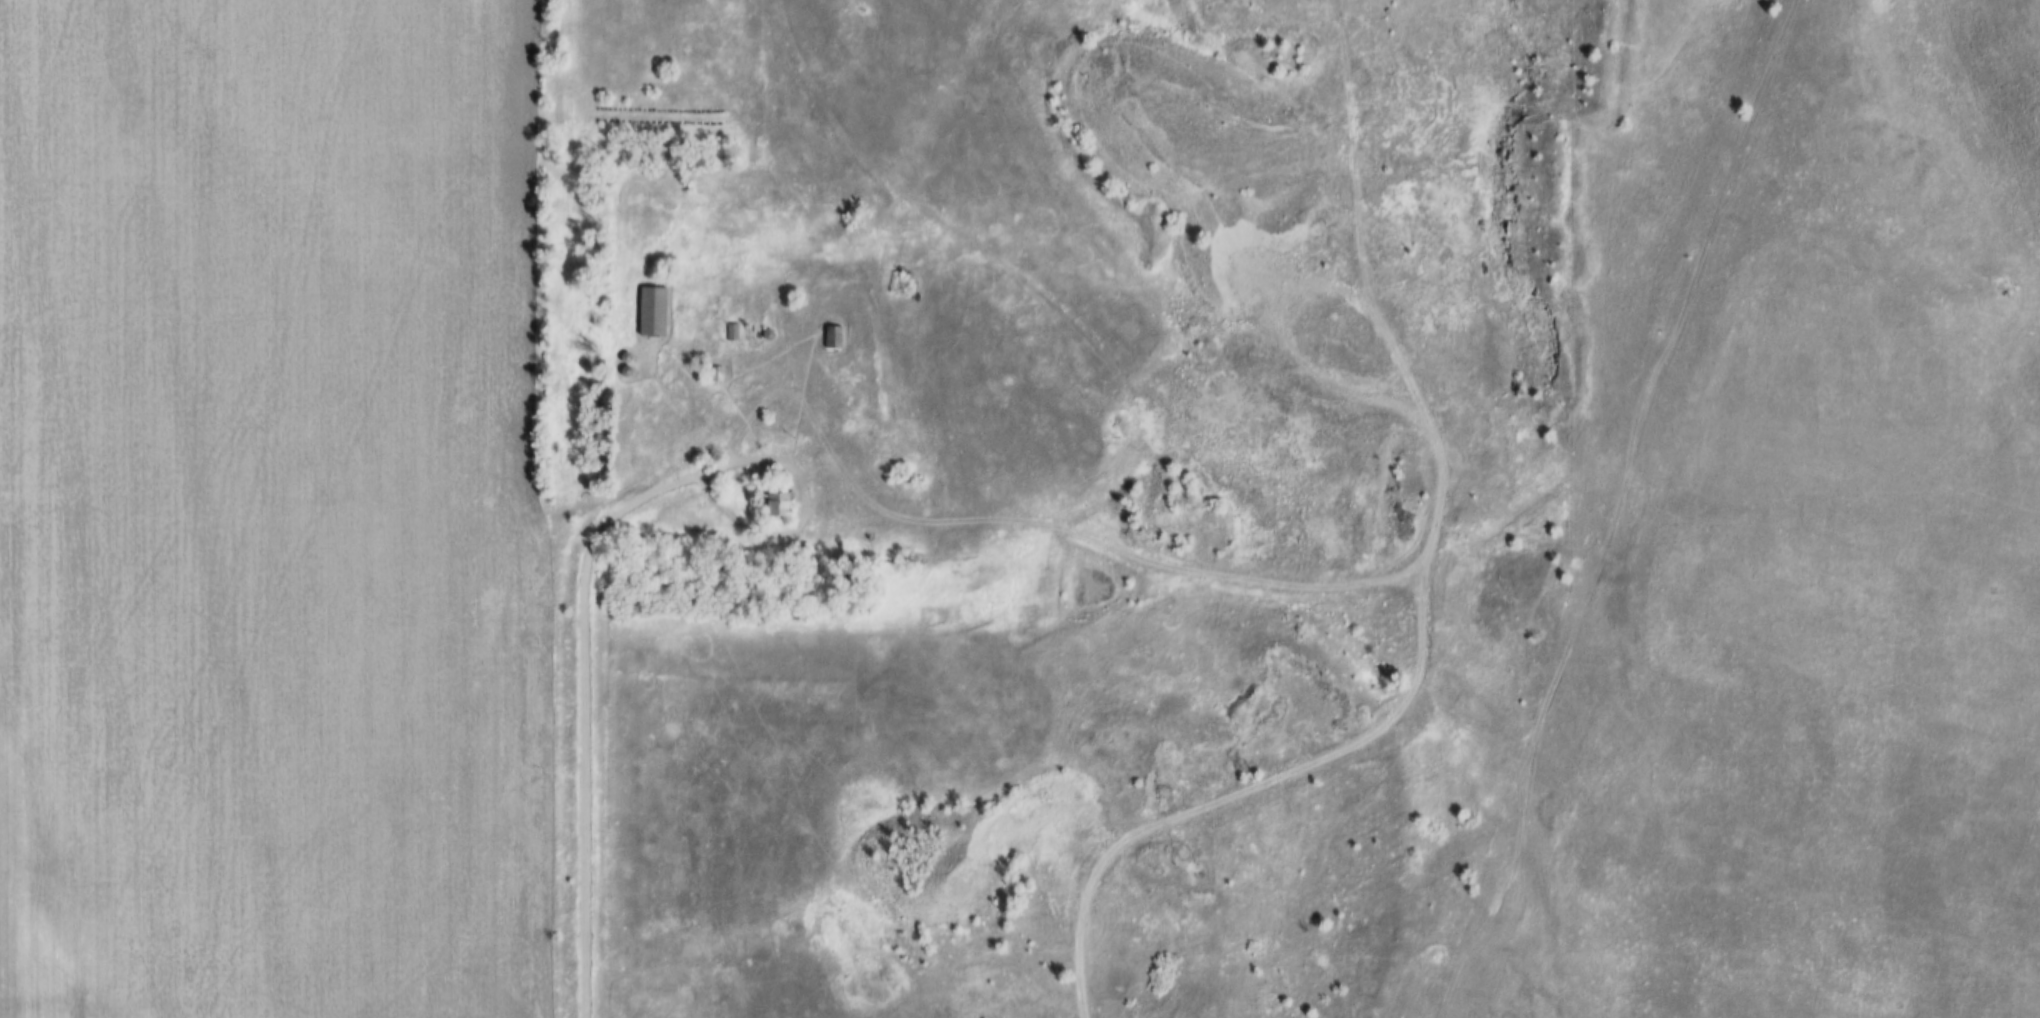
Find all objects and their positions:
building: (655, 310)
road: (1075, 325)
building: (734, 331)
building: (834, 336)
quarry: (1210, 494)
building: (777, 503)
road: (806, 513)
road: (1617, 513)
road: (585, 711)

